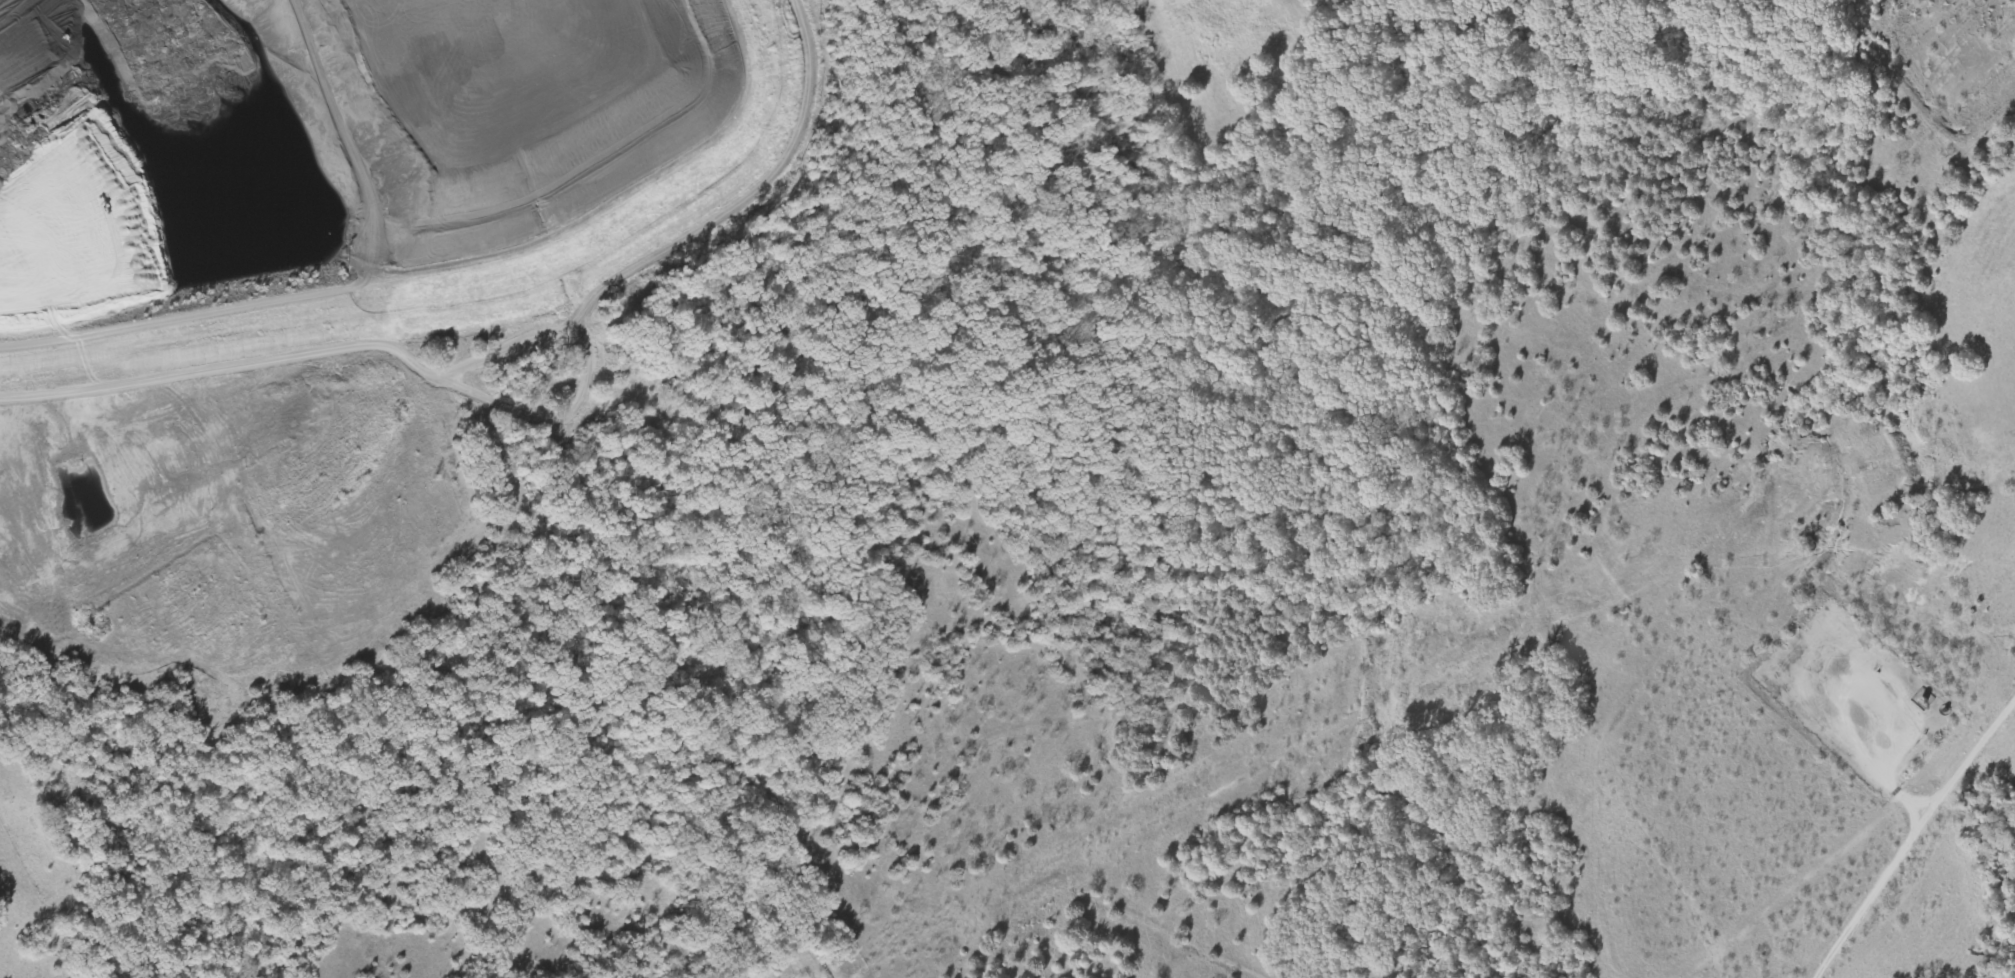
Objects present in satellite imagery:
power plant: (493, 280)

